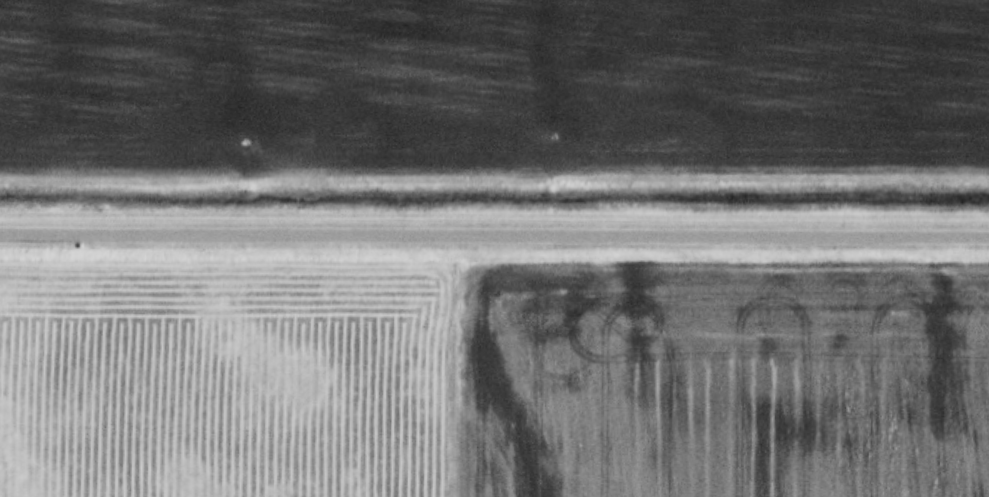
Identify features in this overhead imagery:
road: (494, 235)

